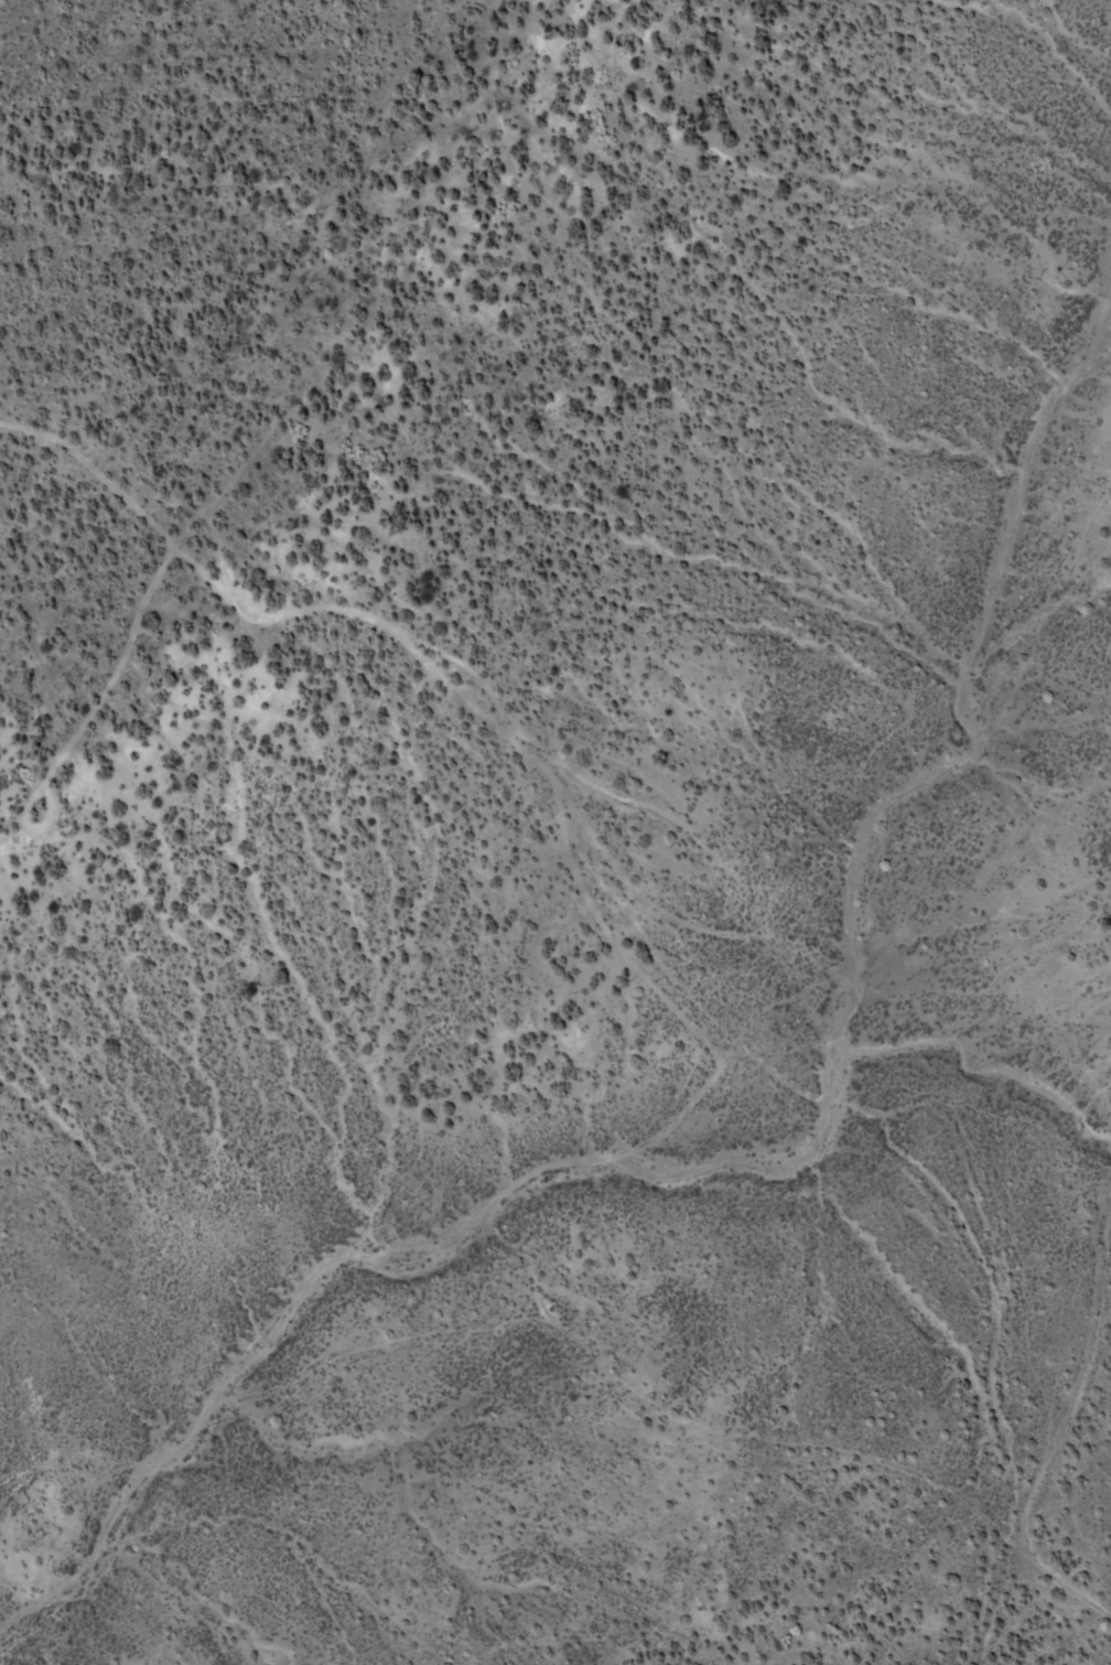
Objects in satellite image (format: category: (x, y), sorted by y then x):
road: (411, 652)
road: (1048, 1451)

